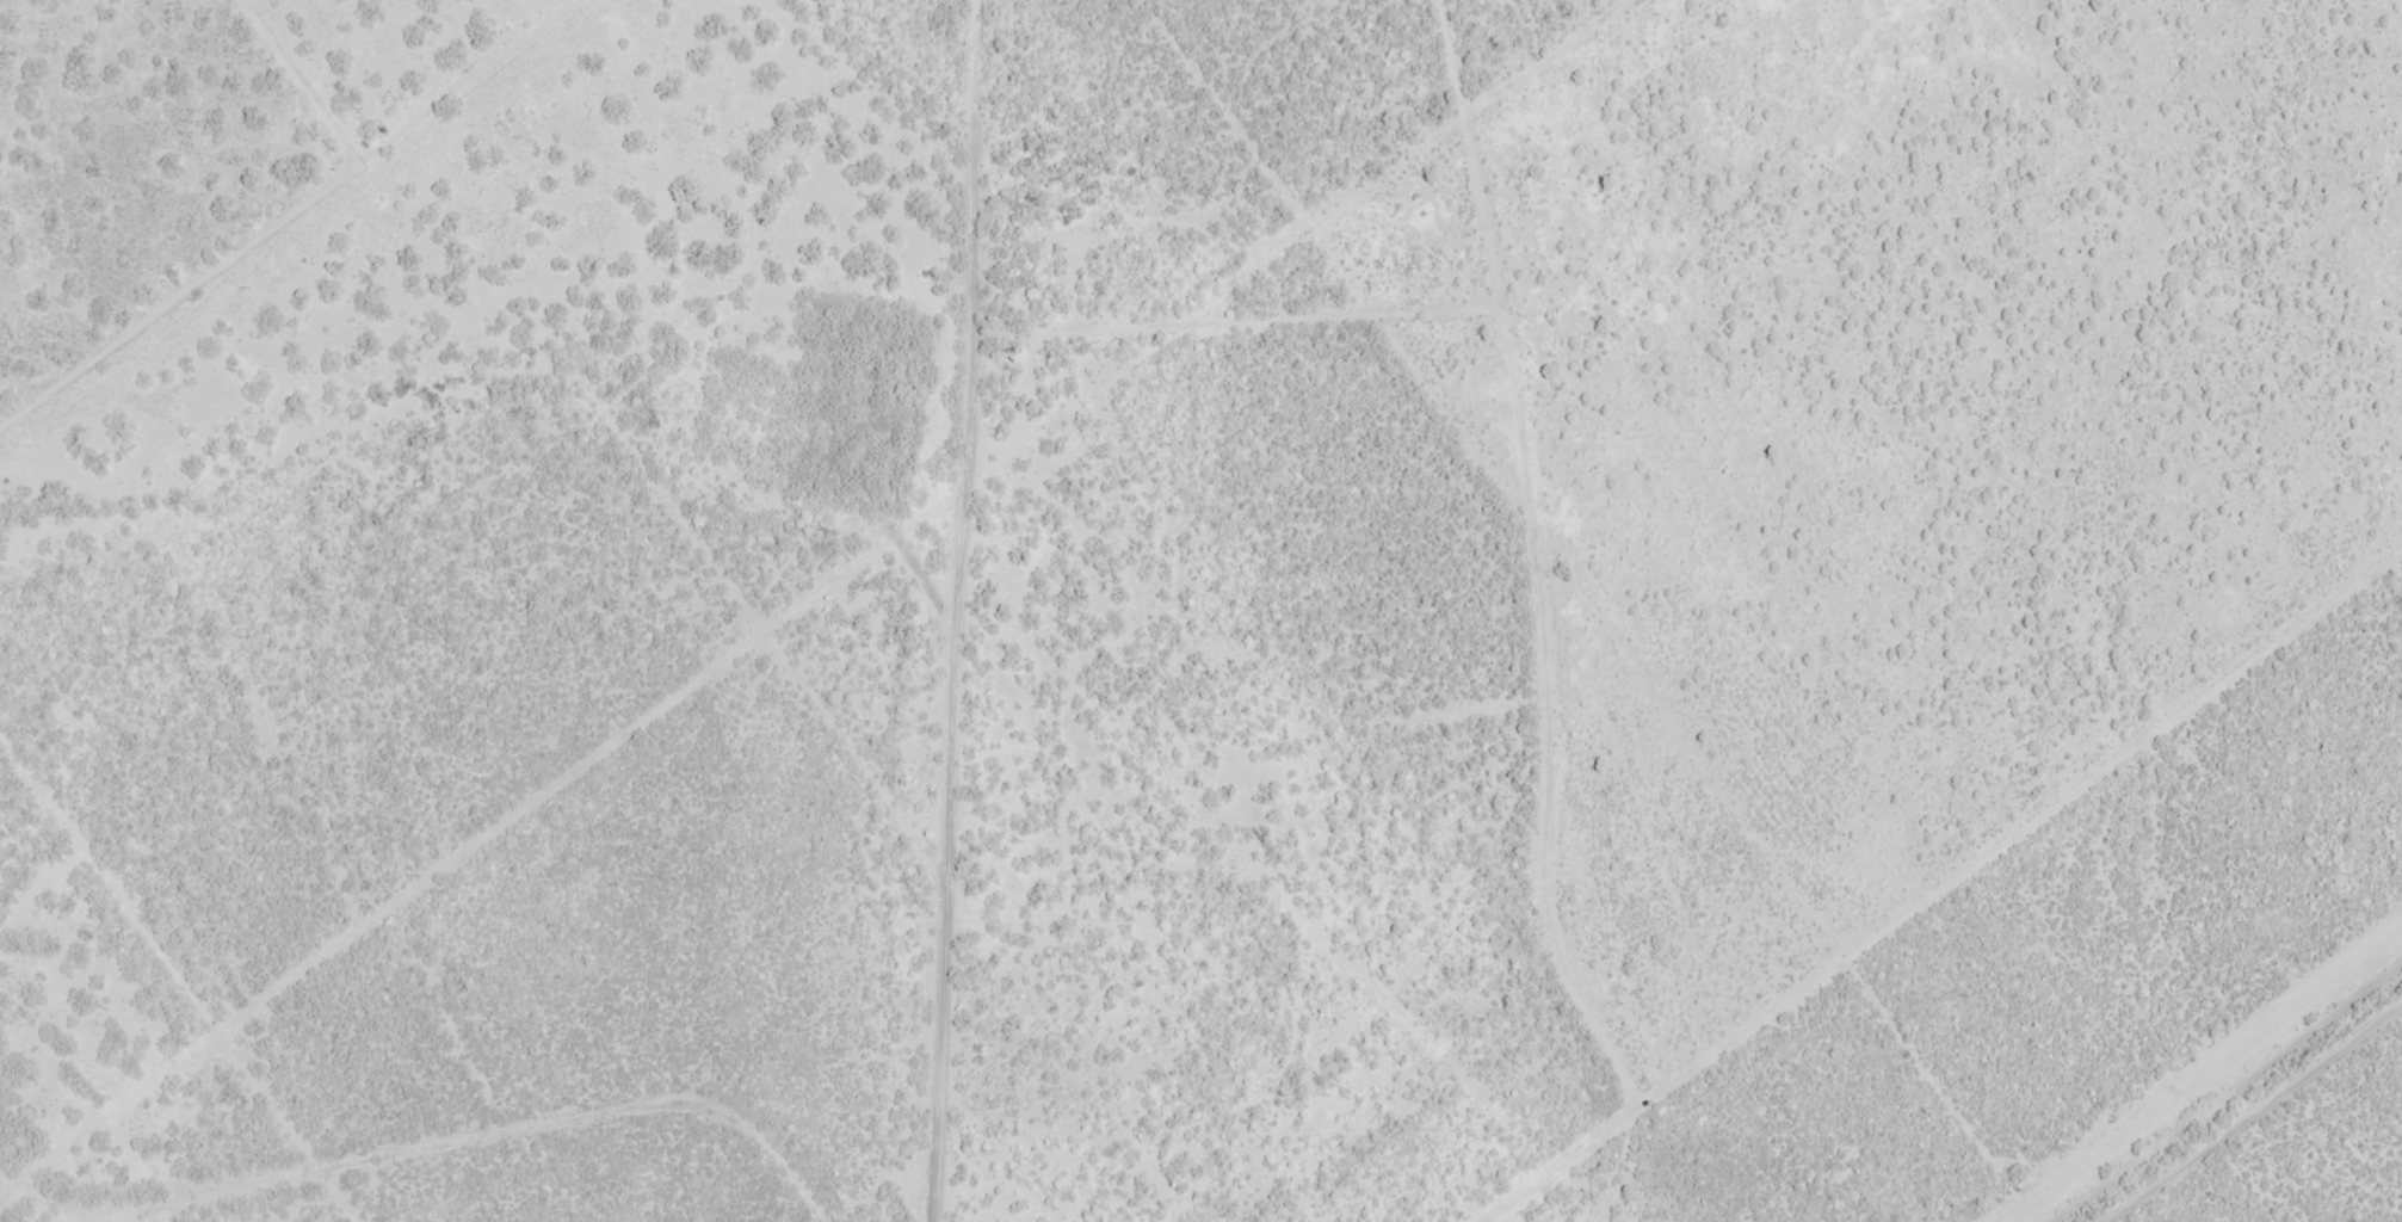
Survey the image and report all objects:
road: (994, 607)
road: (1556, 625)
road: (446, 1118)
road: (2250, 1127)

